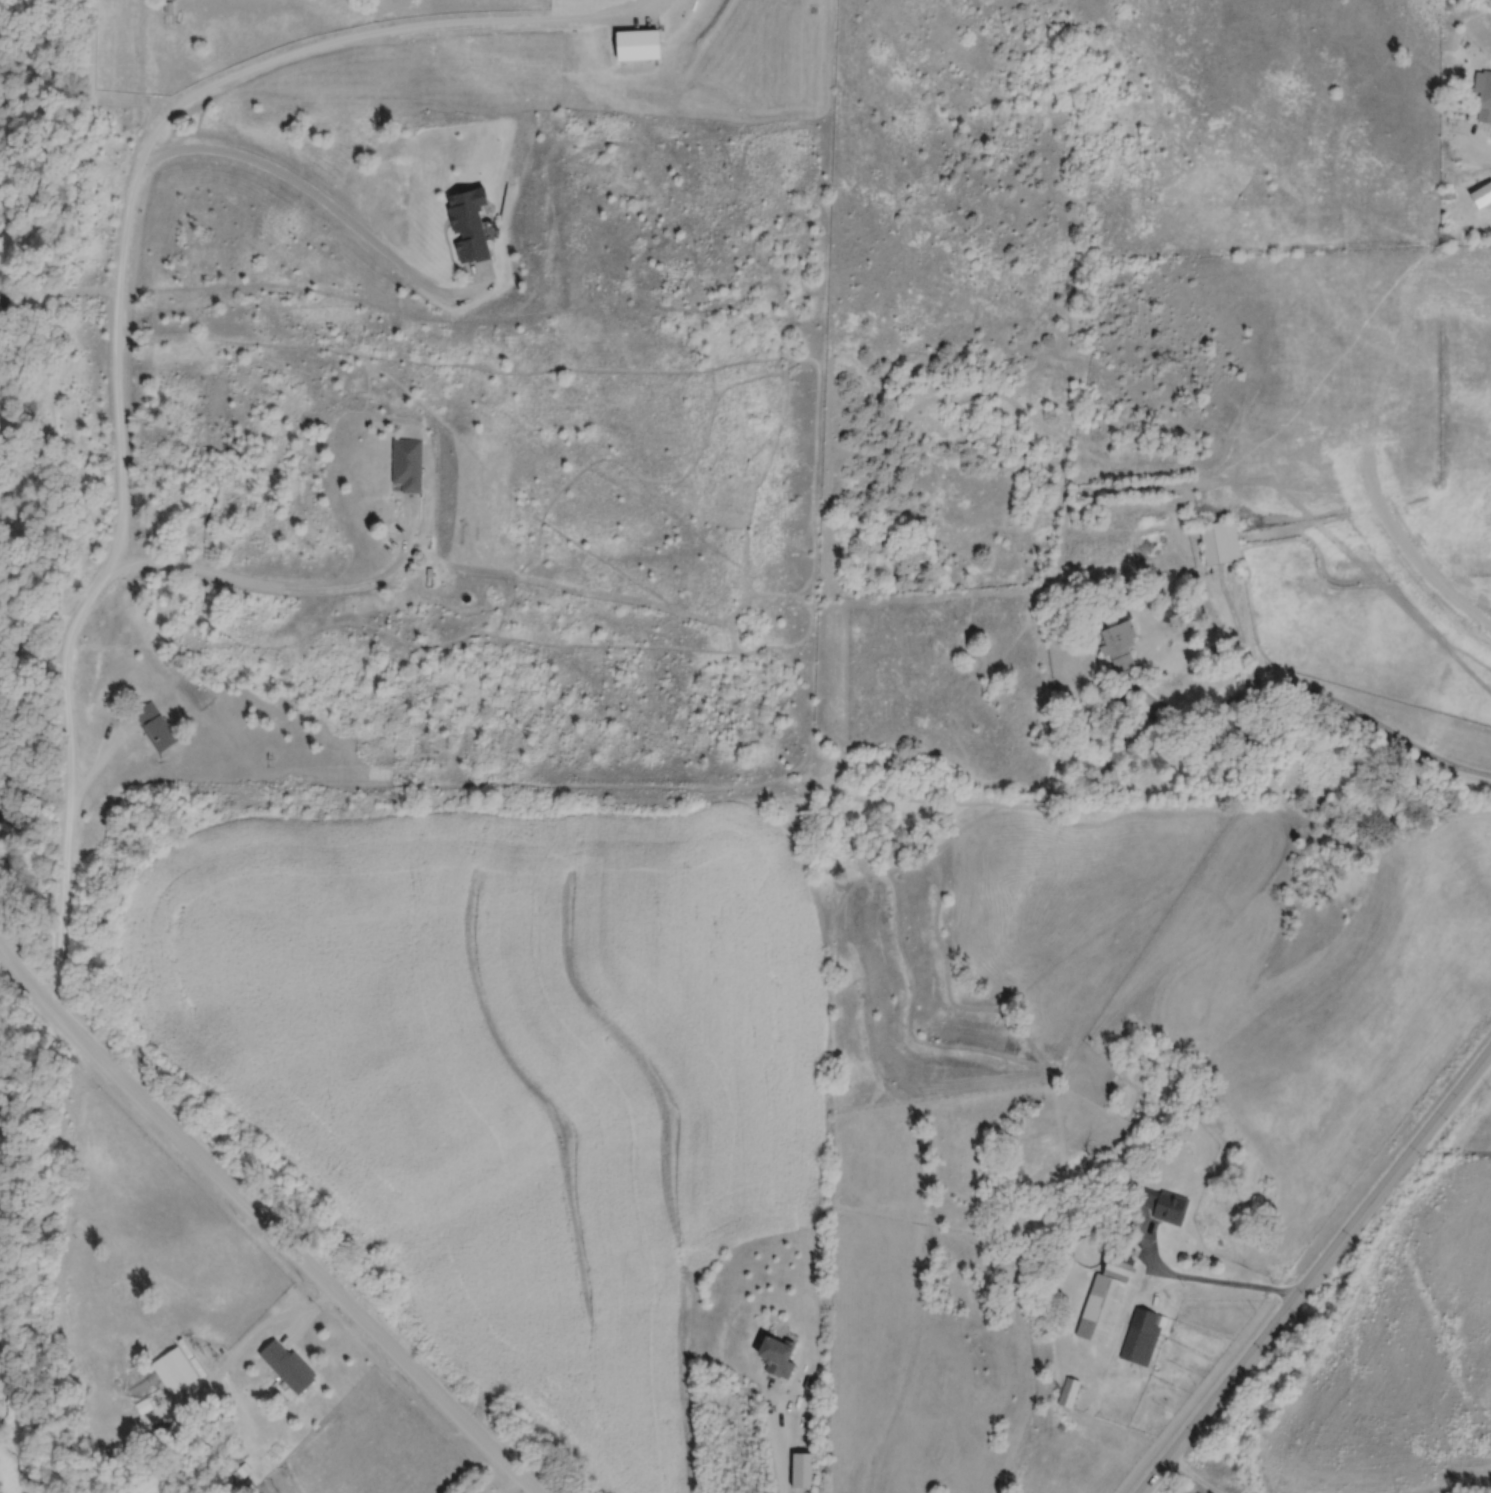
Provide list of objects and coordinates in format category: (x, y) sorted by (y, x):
building: (1484, 96)
road: (175, 106)
road: (1476, 138)
building: (1485, 196)
road: (323, 198)
building: (467, 226)
building: (408, 466)
building: (1095, 517)
building: (1217, 536)
road: (88, 605)
road: (1240, 632)
building: (1112, 640)
building: (1003, 685)
road: (1314, 697)
building: (156, 727)
building: (1156, 1197)
road: (263, 1223)
road: (1317, 1274)
road: (1209, 1283)
building: (1105, 1298)
road: (264, 1328)
building: (1143, 1337)
building: (776, 1356)
building: (288, 1366)
building: (175, 1370)
building: (1069, 1393)
road: (781, 1437)
building: (802, 1470)
road: (515, 1485)

